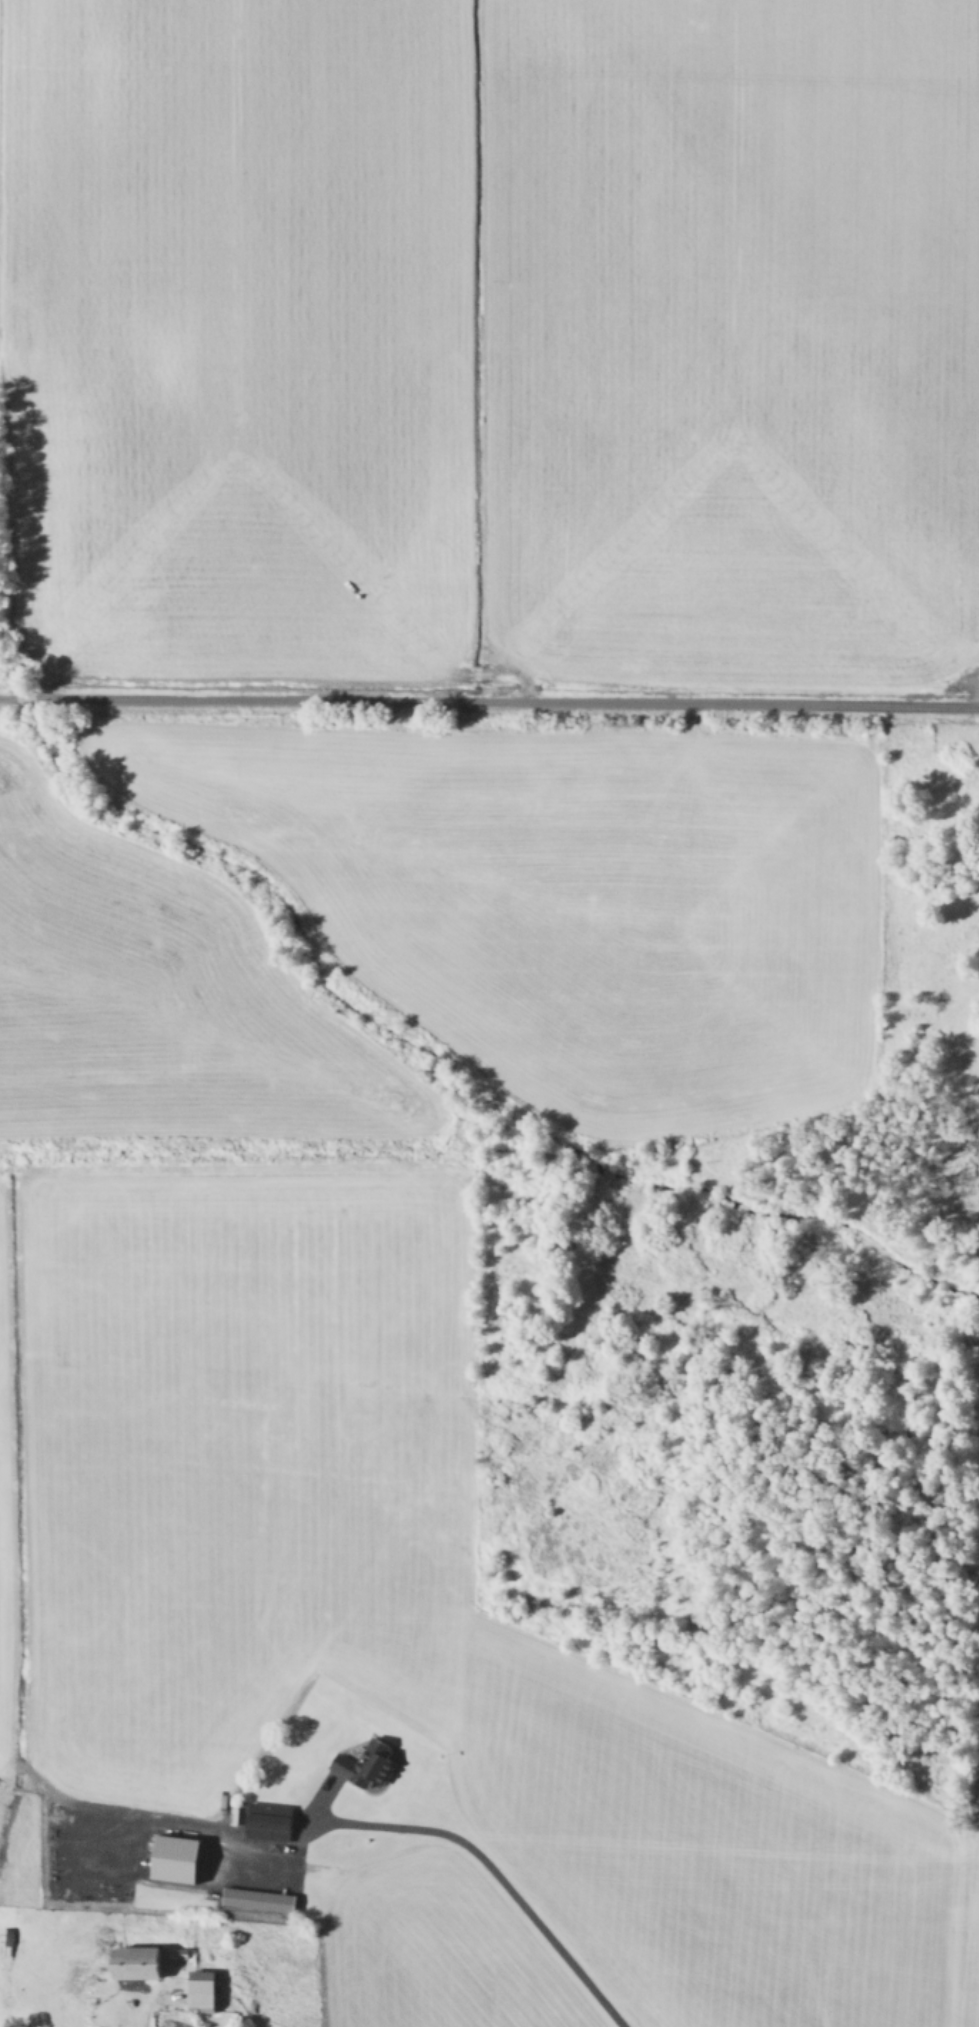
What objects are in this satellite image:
road: (489, 700)
crop: (489, 1013)
building: (370, 1763)
building: (273, 1820)
building: (182, 1857)
road: (491, 1877)
building: (261, 1899)
building: (145, 1960)
building: (205, 1990)
building: (107, 2026)

